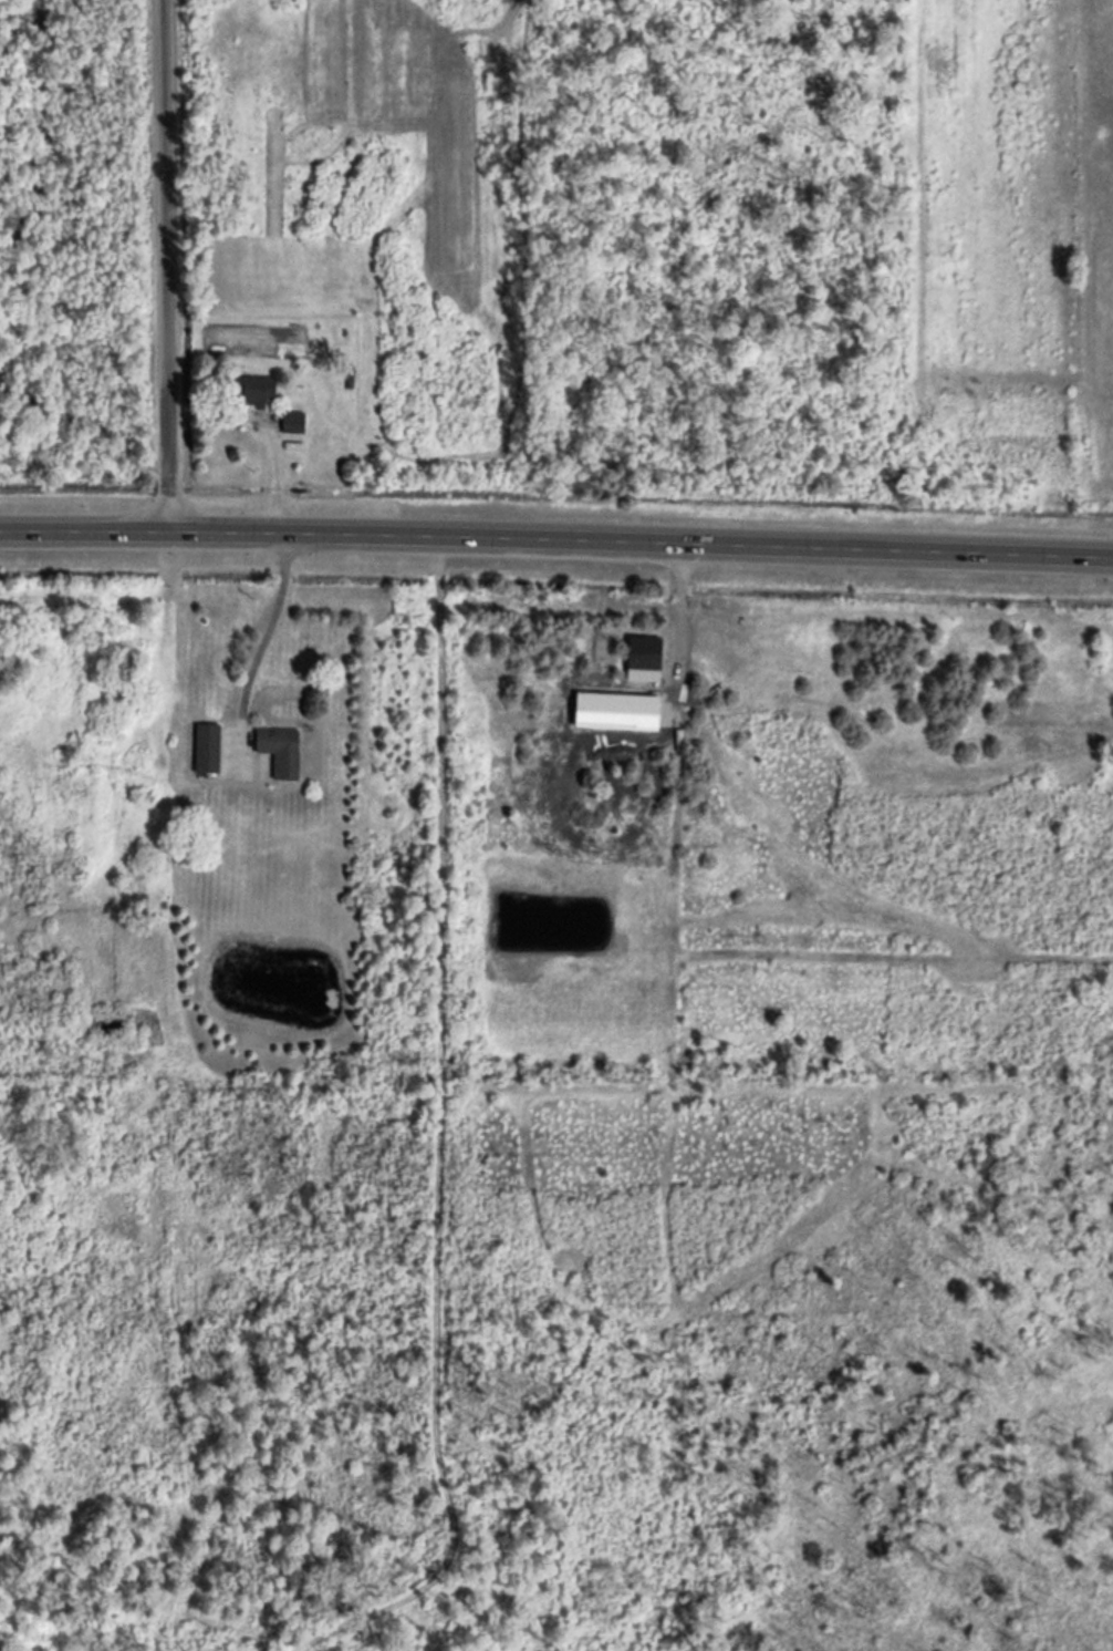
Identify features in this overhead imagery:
road: (165, 262)
building: (251, 389)
building: (294, 419)
road: (556, 535)
building: (636, 648)
building: (201, 743)
building: (274, 745)
road: (427, 1102)

